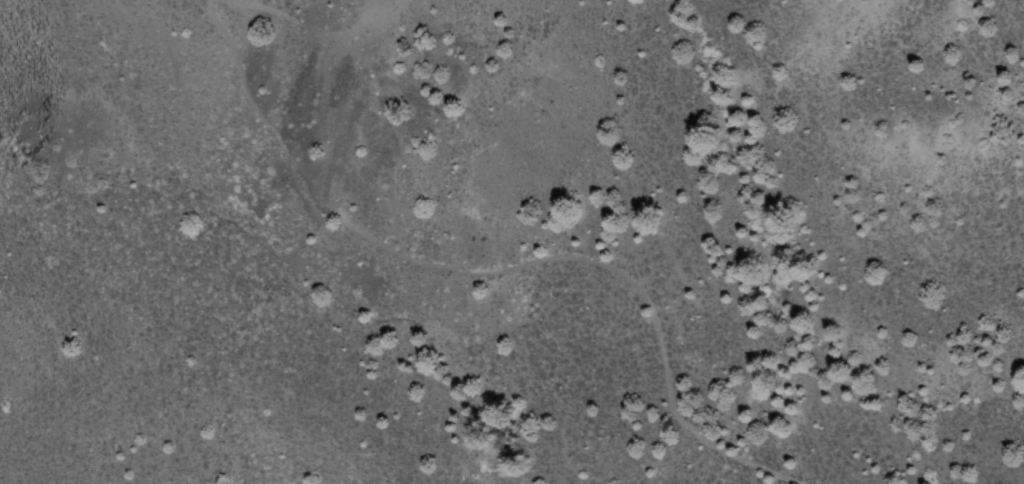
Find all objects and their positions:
road: (502, 266)

